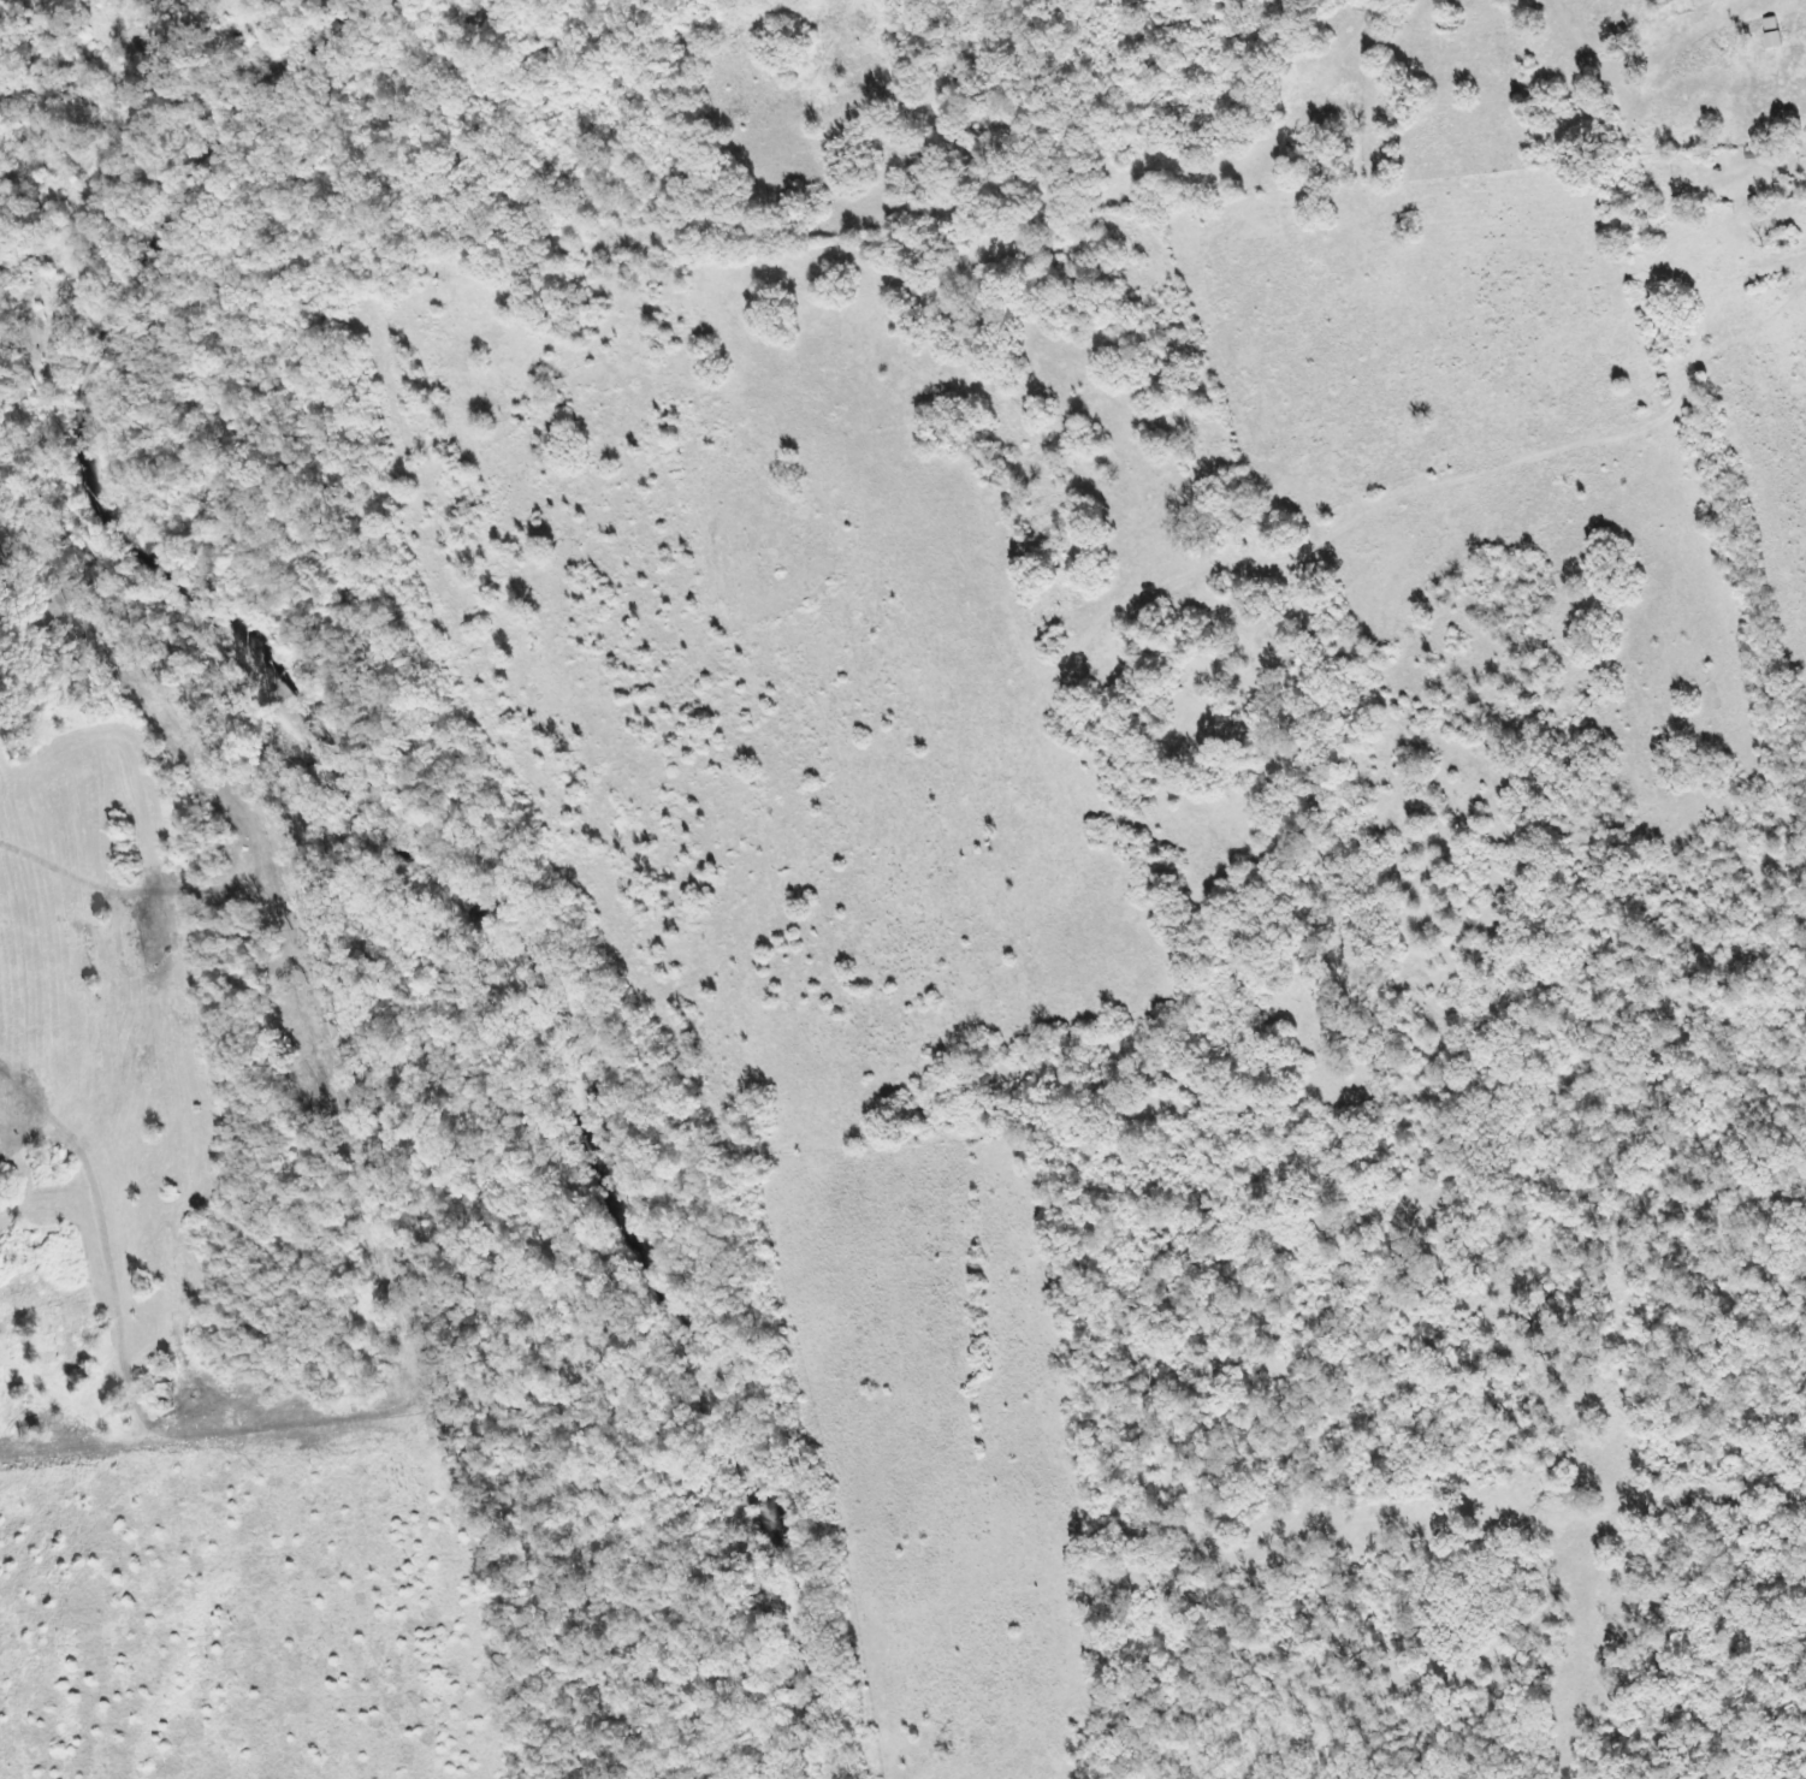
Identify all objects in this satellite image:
building: (1765, 31)

